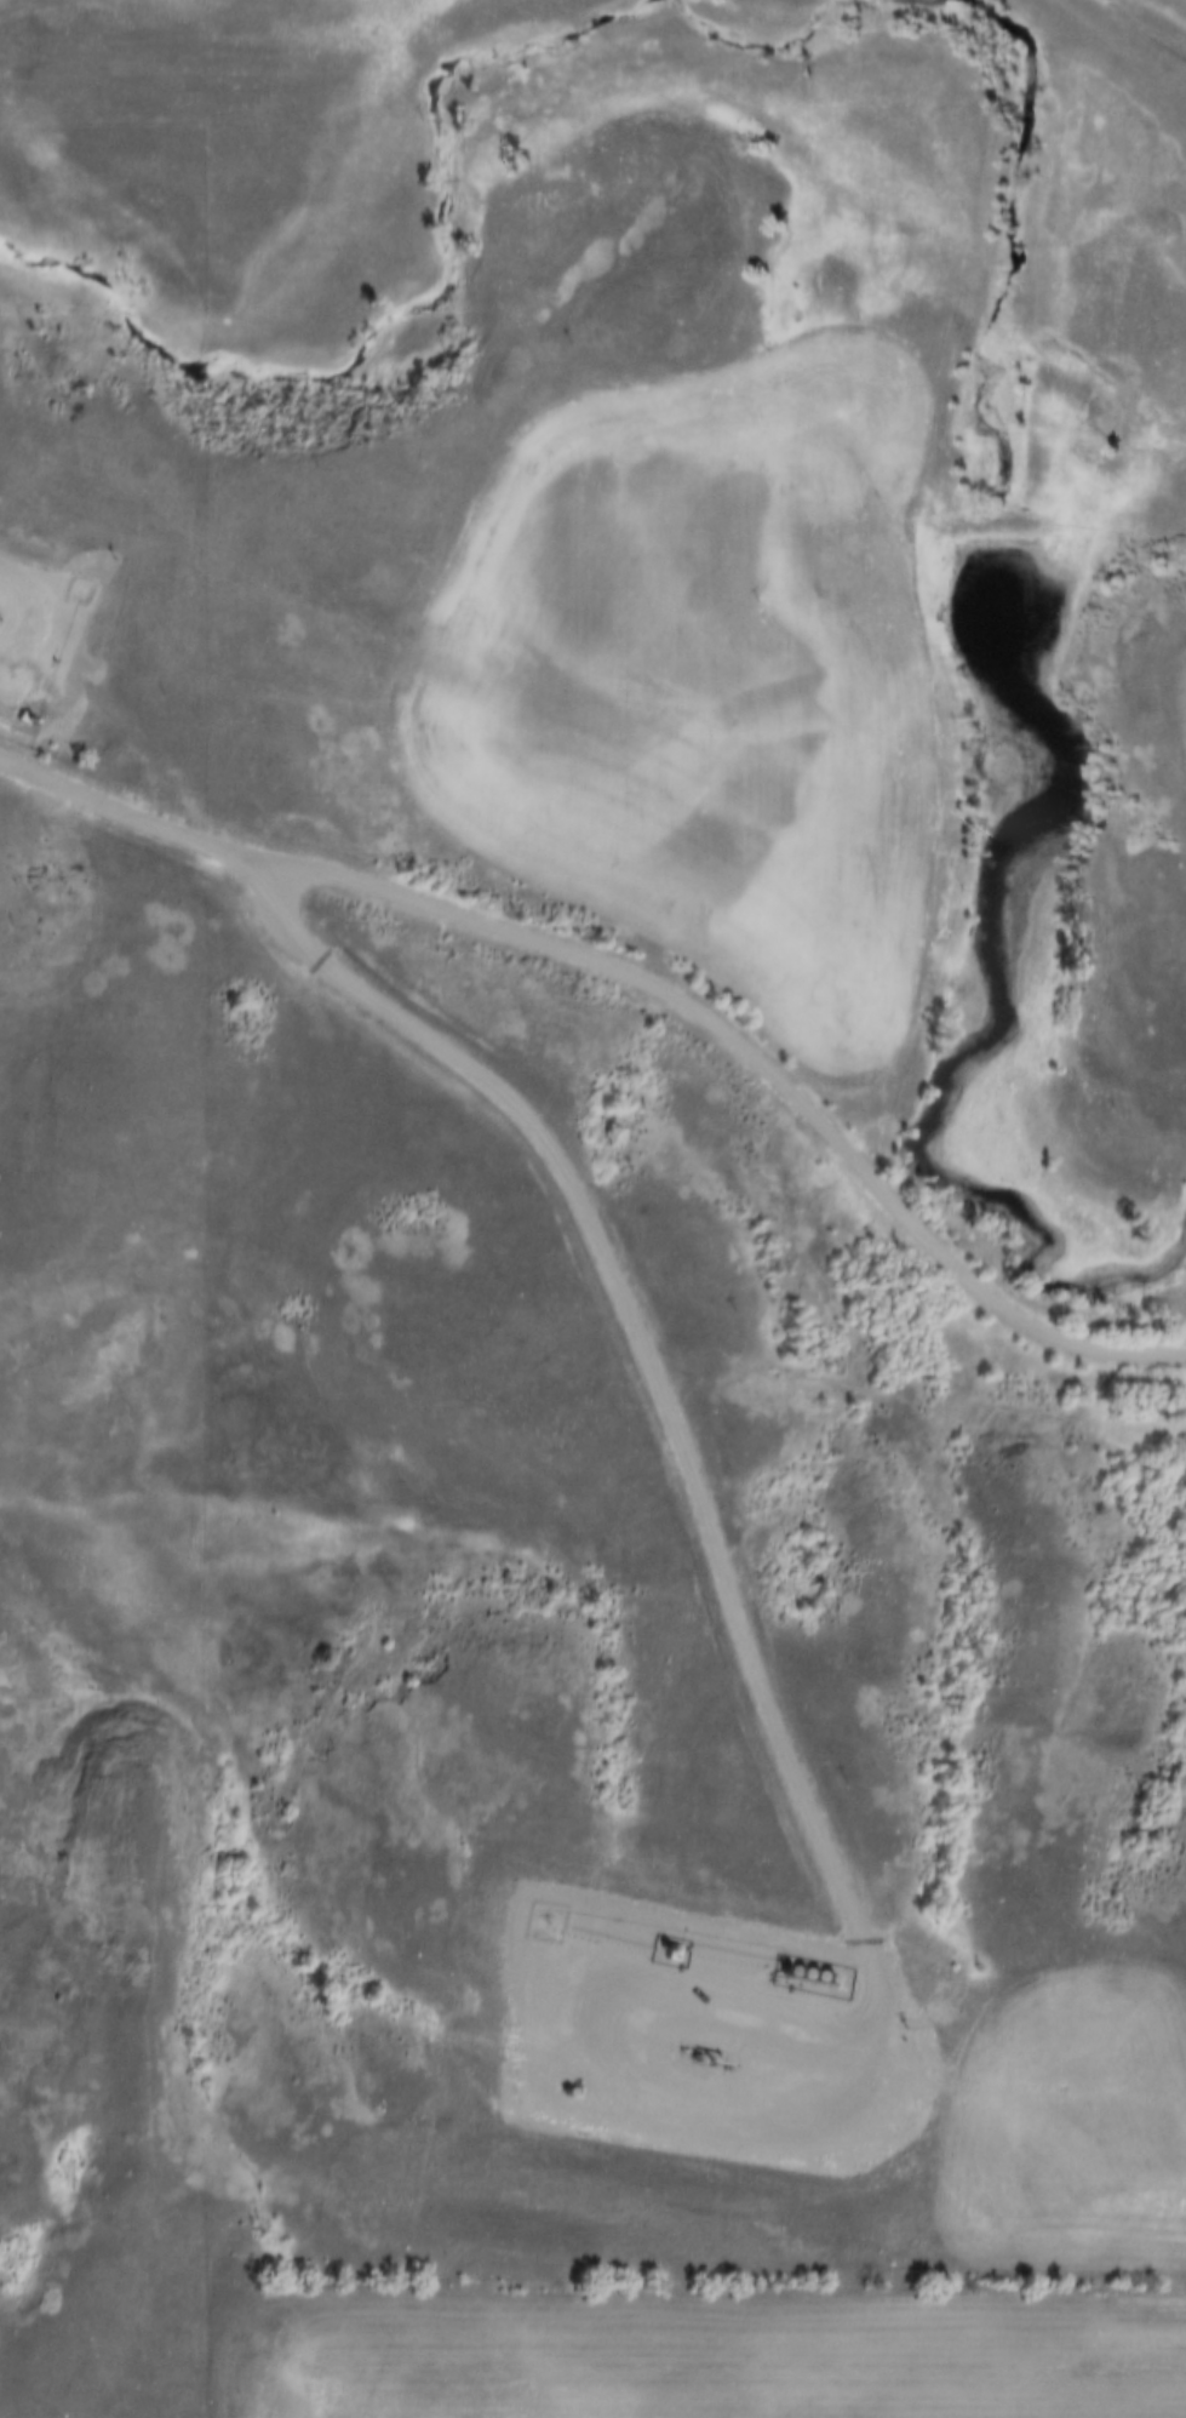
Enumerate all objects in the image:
road: (36, 657)
road: (643, 987)
road: (758, 1693)

